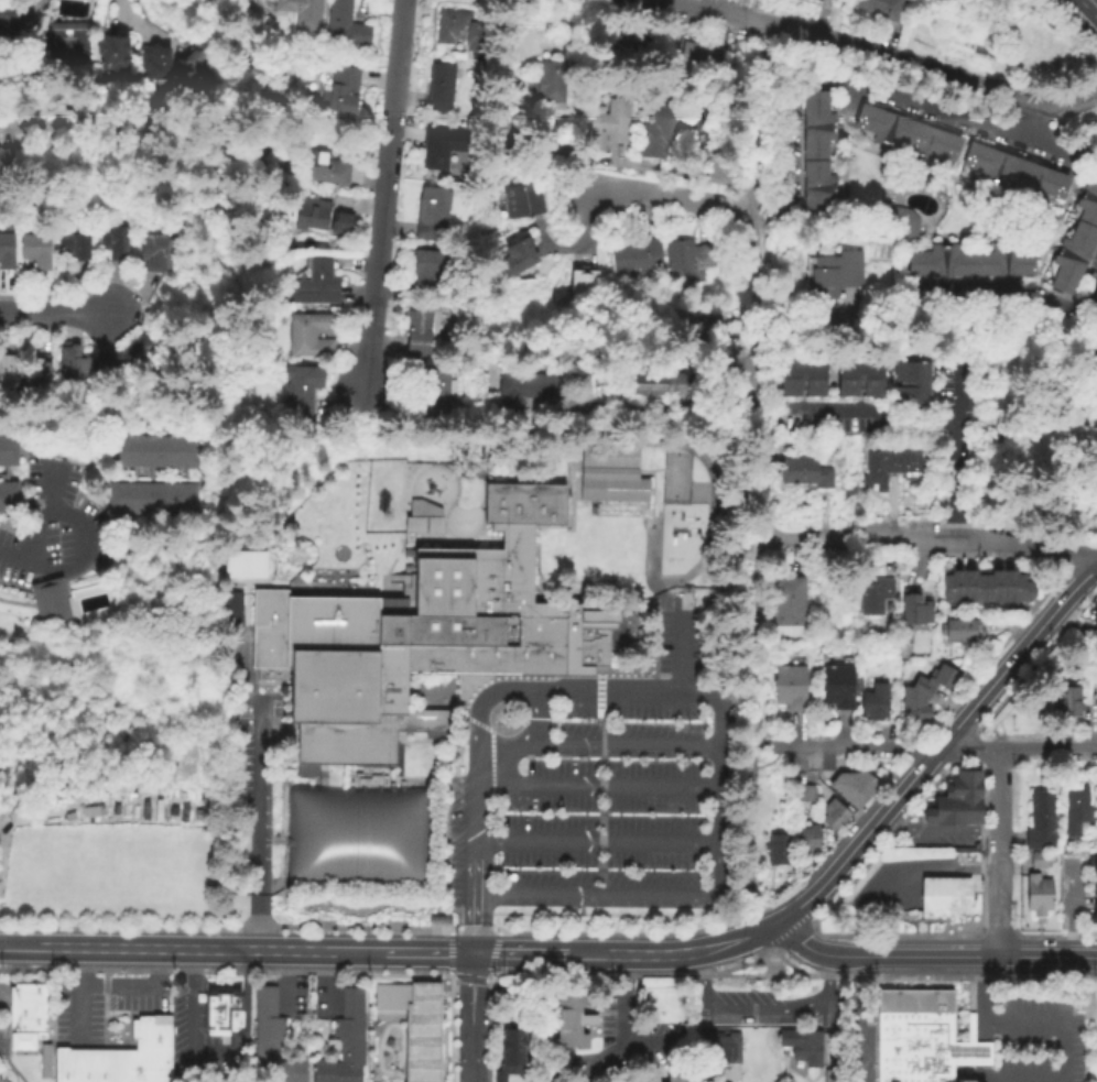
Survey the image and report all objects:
road: (1096, 0)
building: (815, 1)
road: (35, 7)
building: (879, 9)
building: (301, 13)
building: (10, 15)
road: (140, 28)
building: (344, 28)
building: (454, 29)
building: (66, 43)
park: (65, 45)
road: (502, 46)
road: (877, 50)
building: (629, 52)
building: (112, 56)
building: (700, 58)
building: (154, 64)
building: (193, 69)
road: (0, 84)
building: (547, 84)
road: (1096, 85)
road: (1096, 86)
building: (439, 89)
road: (867, 90)
building: (339, 94)
road: (758, 117)
road: (1028, 119)
road: (28, 120)
building: (607, 128)
building: (708, 130)
building: (656, 132)
building: (906, 136)
building: (442, 146)
building: (816, 153)
building: (4, 161)
building: (325, 171)
road: (663, 173)
building: (1015, 174)
road: (384, 194)
road: (671, 197)
building: (520, 203)
building: (431, 214)
building: (313, 216)
building: (343, 221)
building: (112, 243)
building: (1076, 243)
building: (74, 247)
building: (35, 252)
building: (6, 253)
building: (154, 253)
building: (518, 260)
building: (636, 260)
building: (687, 261)
building: (971, 263)
building: (427, 271)
building: (835, 276)
building: (583, 283)
building: (315, 285)
road: (1008, 302)
road: (55, 312)
building: (703, 328)
road: (819, 328)
building: (422, 330)
building: (308, 338)
building: (121, 359)
building: (74, 364)
building: (7, 374)
building: (35, 374)
road: (756, 375)
building: (858, 379)
building: (803, 380)
building: (654, 383)
building: (911, 386)
building: (298, 392)
building: (435, 392)
building: (525, 392)
road: (856, 411)
road: (648, 423)
building: (8, 451)
building: (151, 451)
road: (954, 451)
building: (905, 462)
building: (876, 469)
building: (610, 473)
building: (806, 473)
park: (673, 477)
road: (52, 488)
building: (150, 499)
building: (8, 500)
building: (426, 517)
road: (74, 518)
road: (832, 540)
road: (1001, 540)
road: (20, 558)
building: (242, 564)
building: (515, 589)
building: (954, 590)
building: (974, 590)
building: (995, 590)
building: (1019, 591)
building: (873, 595)
building: (48, 603)
building: (789, 609)
building: (229, 610)
building: (915, 612)
building: (1096, 621)
building: (958, 633)
road: (681, 653)
road: (1013, 653)
building: (367, 670)
building: (861, 686)
building: (837, 688)
building: (790, 689)
building: (922, 690)
road: (517, 691)
road: (604, 691)
road: (741, 695)
building: (1064, 703)
building: (875, 704)
building: (913, 712)
road: (1093, 719)
road: (621, 747)
road: (758, 748)
road: (935, 748)
road: (716, 754)
building: (965, 786)
road: (598, 787)
building: (855, 789)
road: (478, 794)
building: (804, 795)
parking lot: (616, 797)
road: (993, 802)
building: (954, 812)
building: (1076, 813)
building: (834, 816)
building: (1039, 822)
road: (253, 823)
road: (930, 831)
building: (359, 835)
road: (861, 837)
building: (808, 840)
road: (596, 843)
building: (776, 850)
building: (1038, 862)
building: (1095, 867)
road: (895, 873)
building: (947, 882)
road: (754, 890)
building: (923, 893)
road: (474, 896)
road: (619, 897)
building: (1038, 897)
building: (936, 901)
building: (956, 901)
road: (993, 905)
road: (1069, 908)
building: (1095, 917)
road: (740, 937)
road: (25, 944)
road: (213, 947)
road: (424, 949)
traffic signals: (473, 950)
road: (518, 951)
road: (632, 951)
road: (931, 954)
road: (43, 960)
road: (133, 984)
road: (76, 994)
road: (978, 998)
building: (221, 1008)
building: (26, 1009)
road: (757, 1012)
road: (470, 1015)
building: (569, 1016)
road: (854, 1018)
road: (622, 1020)
building: (414, 1026)
building: (921, 1038)
building: (271, 1041)
building: (344, 1042)
building: (802, 1043)
road: (642, 1045)
building: (151, 1048)
building: (721, 1049)
road: (979, 1054)
road: (216, 1056)
building: (510, 1056)
road: (1061, 1057)
building: (44, 1062)
building: (65, 1065)
building: (85, 1065)
building: (113, 1065)
building: (827, 1074)
building: (653, 1076)
building: (675, 1078)
building: (555, 1080)
building: (631, 1080)

